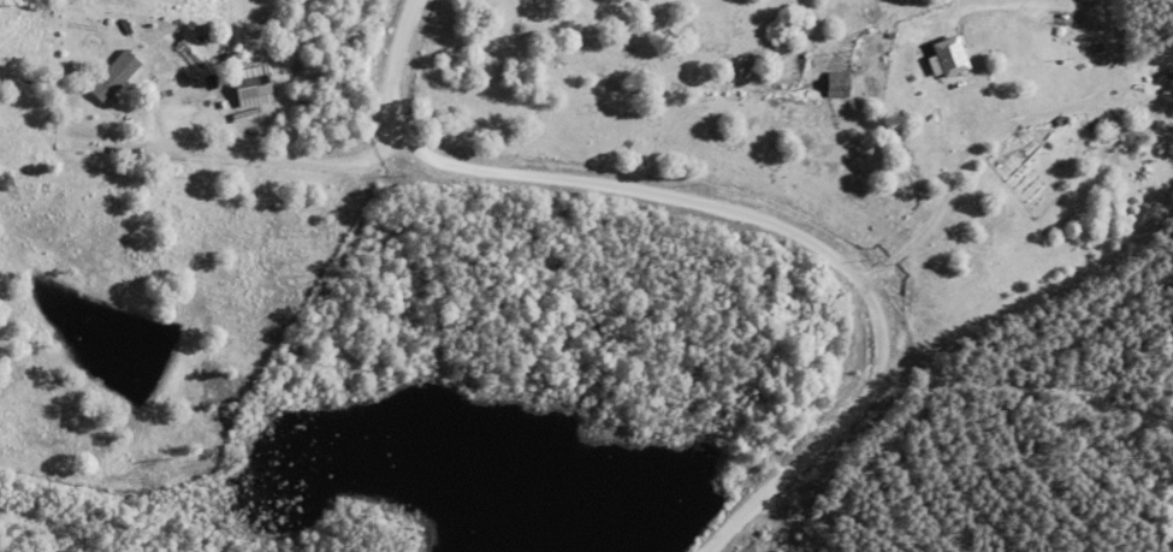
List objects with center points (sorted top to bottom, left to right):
building: (952, 55)
building: (113, 75)
road: (729, 212)

